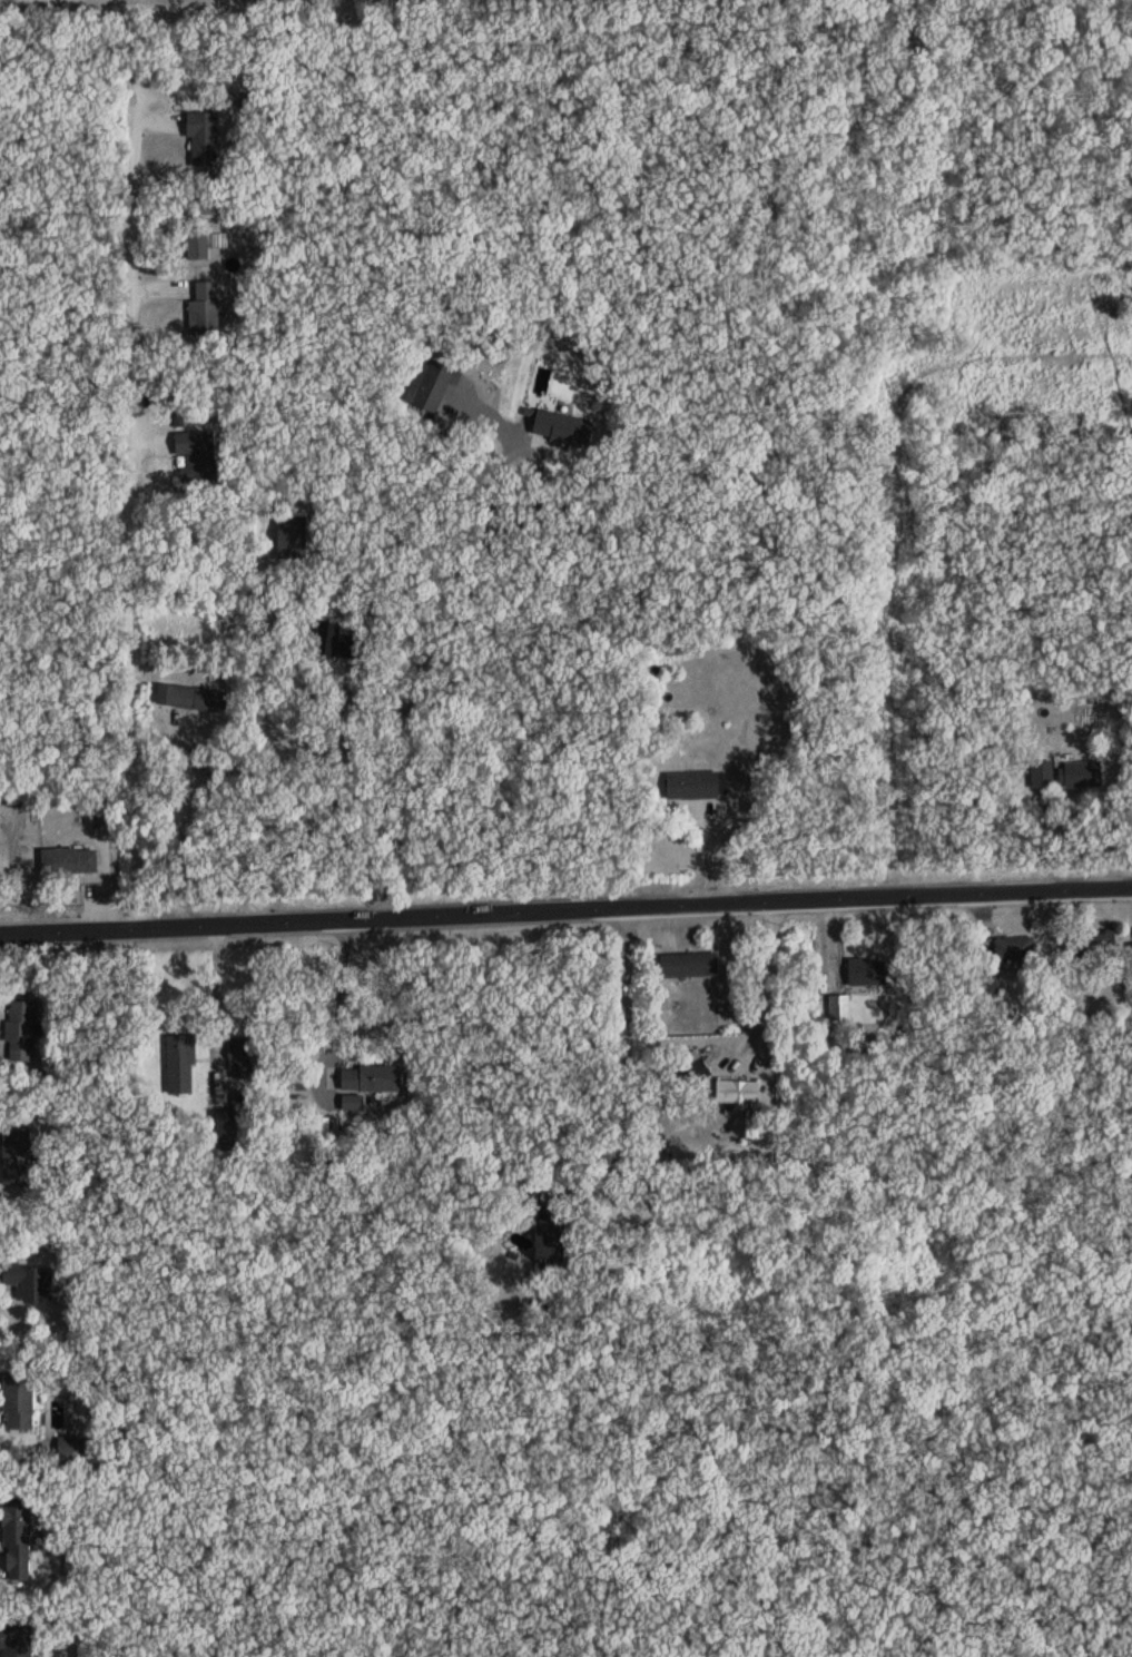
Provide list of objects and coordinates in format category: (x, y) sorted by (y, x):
building: (203, 138)
building: (205, 307)
building: (431, 384)
building: (563, 427)
building: (196, 455)
road: (138, 505)
building: (293, 536)
building: (333, 642)
road: (411, 691)
building: (193, 698)
building: (1042, 775)
building: (1081, 775)
building: (698, 786)
road: (319, 802)
road: (184, 819)
building: (69, 860)
road: (565, 909)
building: (1096, 945)
building: (1014, 947)
building: (1130, 955)
building: (689, 964)
building: (867, 970)
building: (988, 980)
building: (838, 1005)
road: (360, 1027)
building: (20, 1030)
building: (240, 1057)
building: (180, 1064)
building: (698, 1067)
road: (612, 1069)
building: (372, 1077)
building: (738, 1091)
building: (225, 1151)
building: (16, 1155)
building: (551, 1236)
building: (30, 1281)
building: (19, 1401)
building: (17, 1540)
building: (18, 1641)

